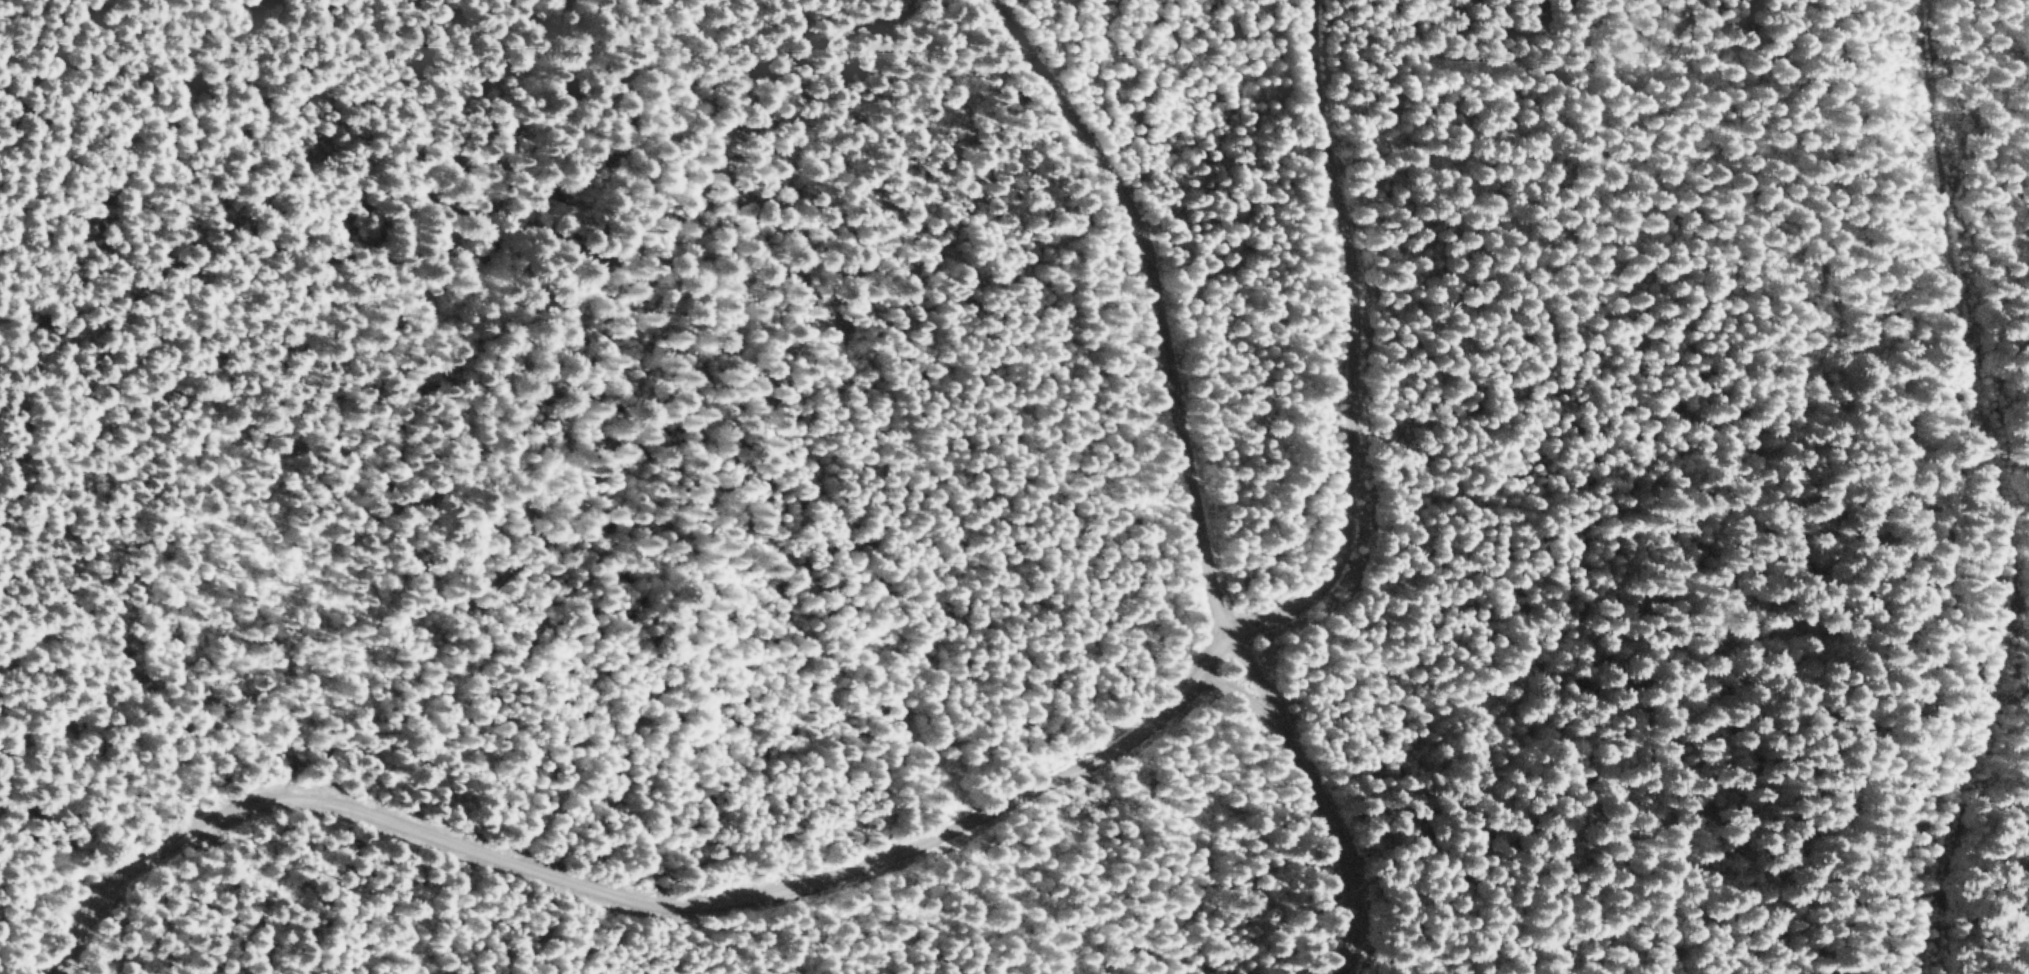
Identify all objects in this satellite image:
road: (1154, 297)
road: (1233, 695)
road: (1311, 795)
road: (969, 816)

